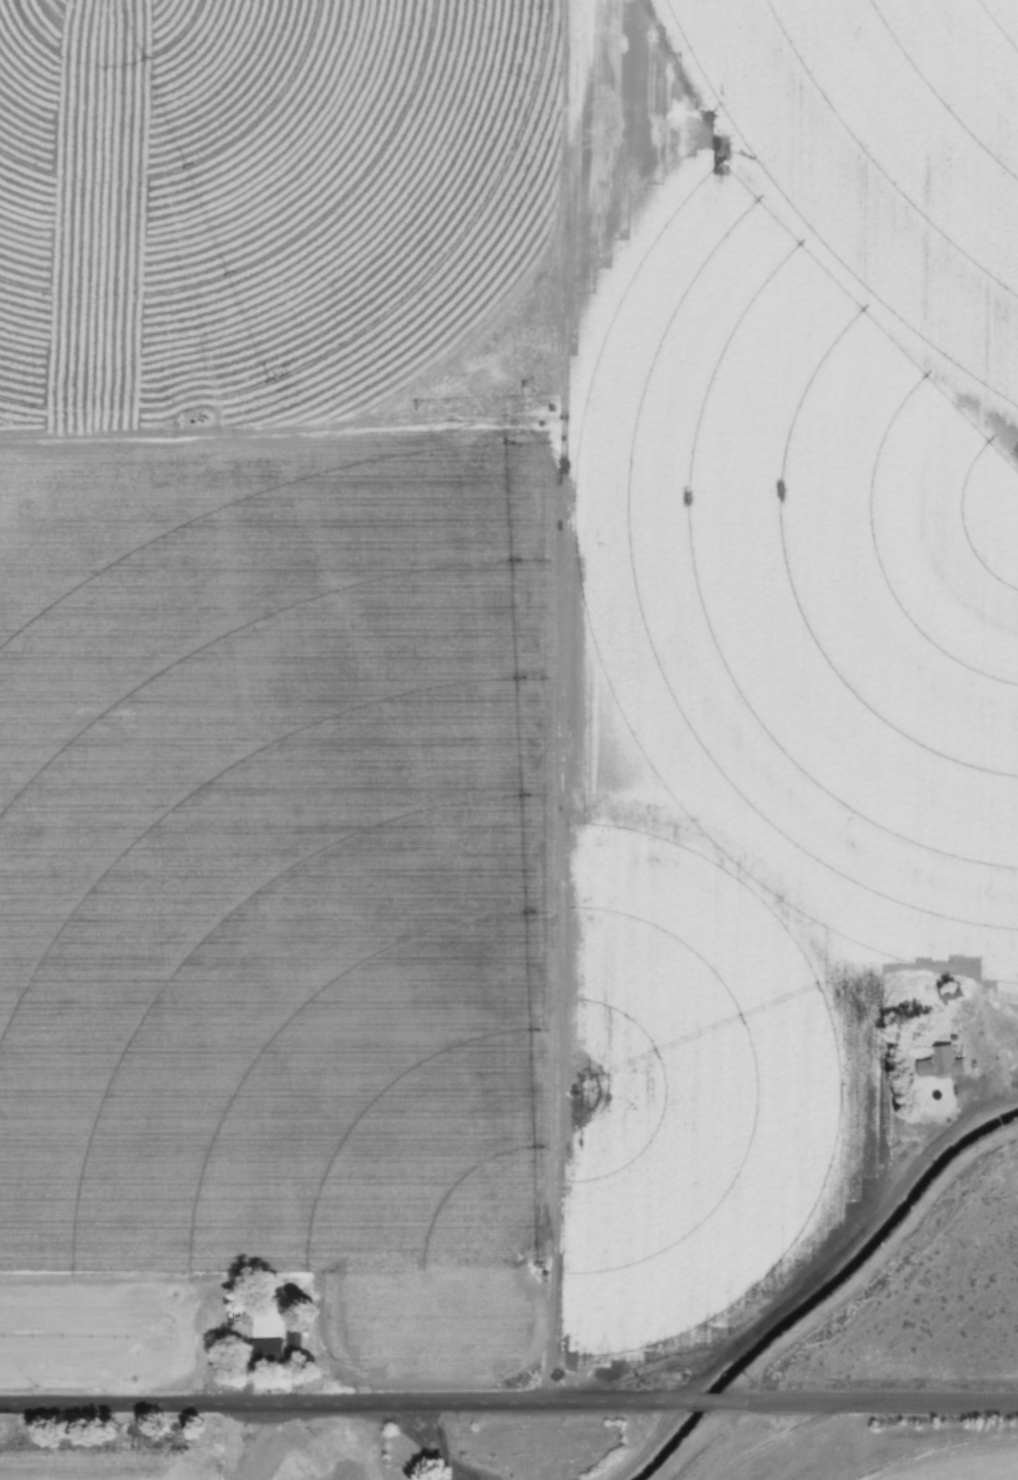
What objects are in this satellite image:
building: (951, 994)
building: (939, 1063)
road: (845, 1239)
building: (266, 1351)
road: (347, 1400)
road: (705, 1401)
road: (867, 1401)
building: (242, 1449)

